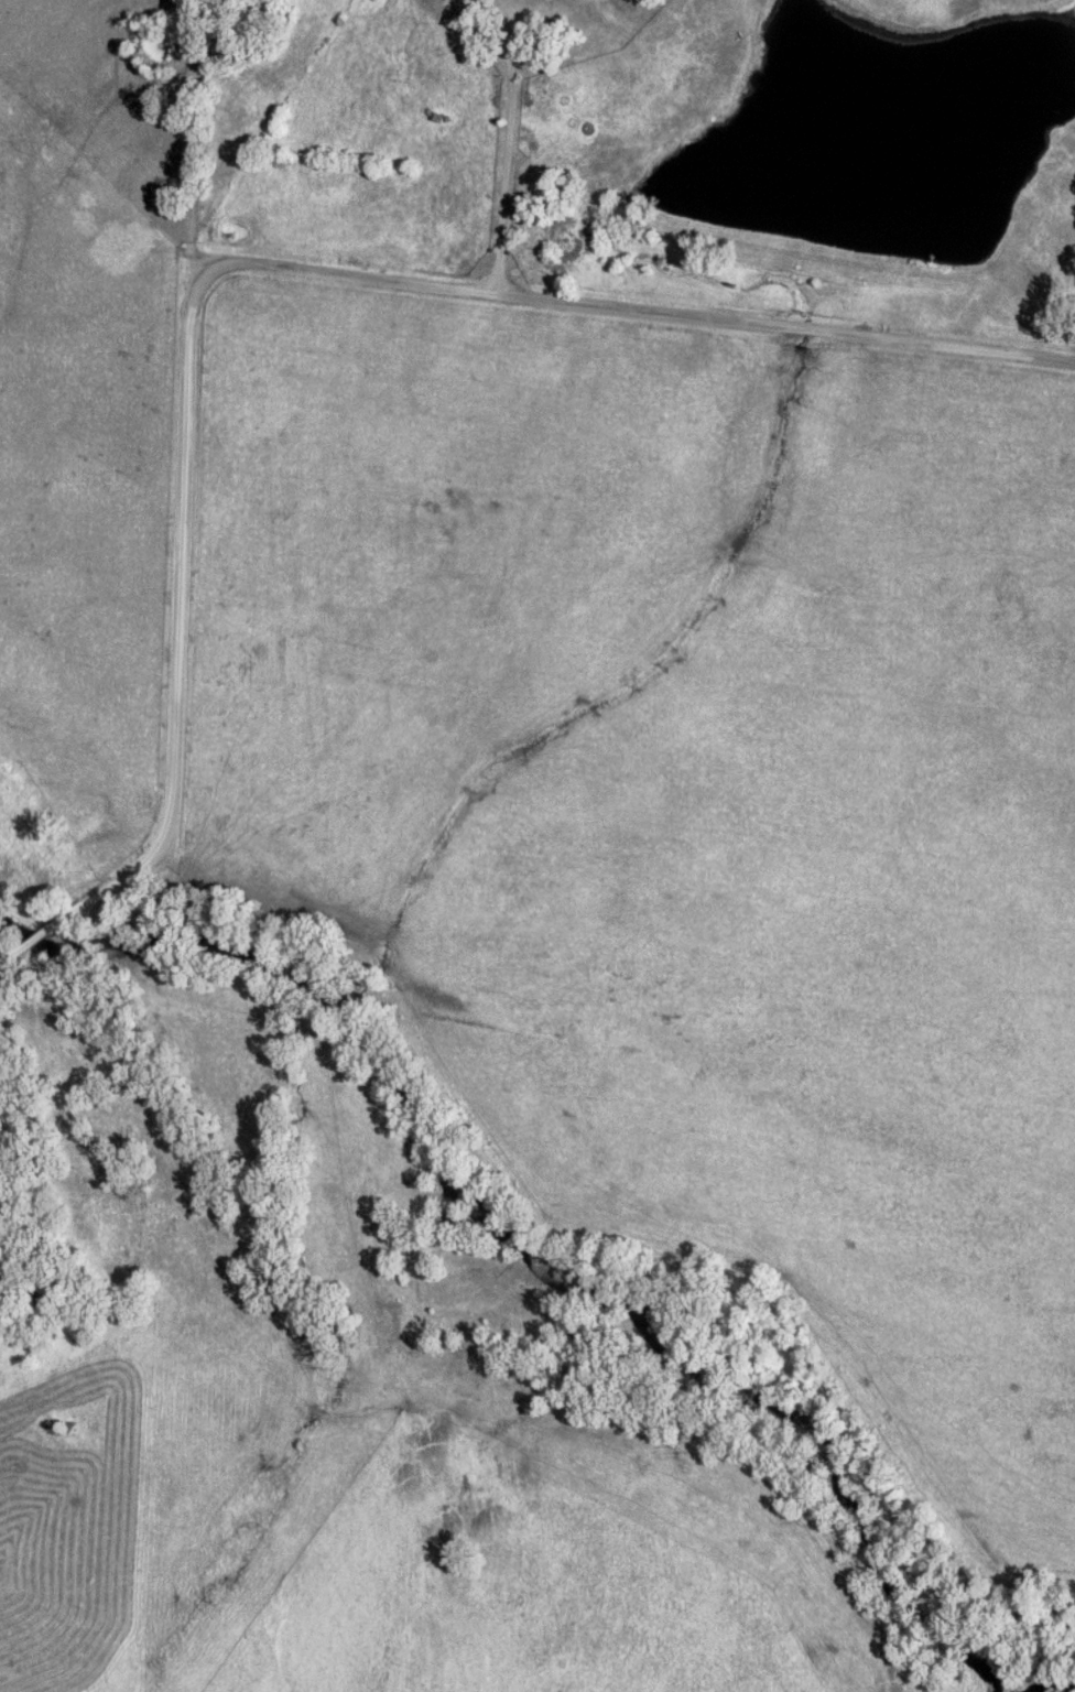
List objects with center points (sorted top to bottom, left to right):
road: (511, 139)
road: (256, 259)

